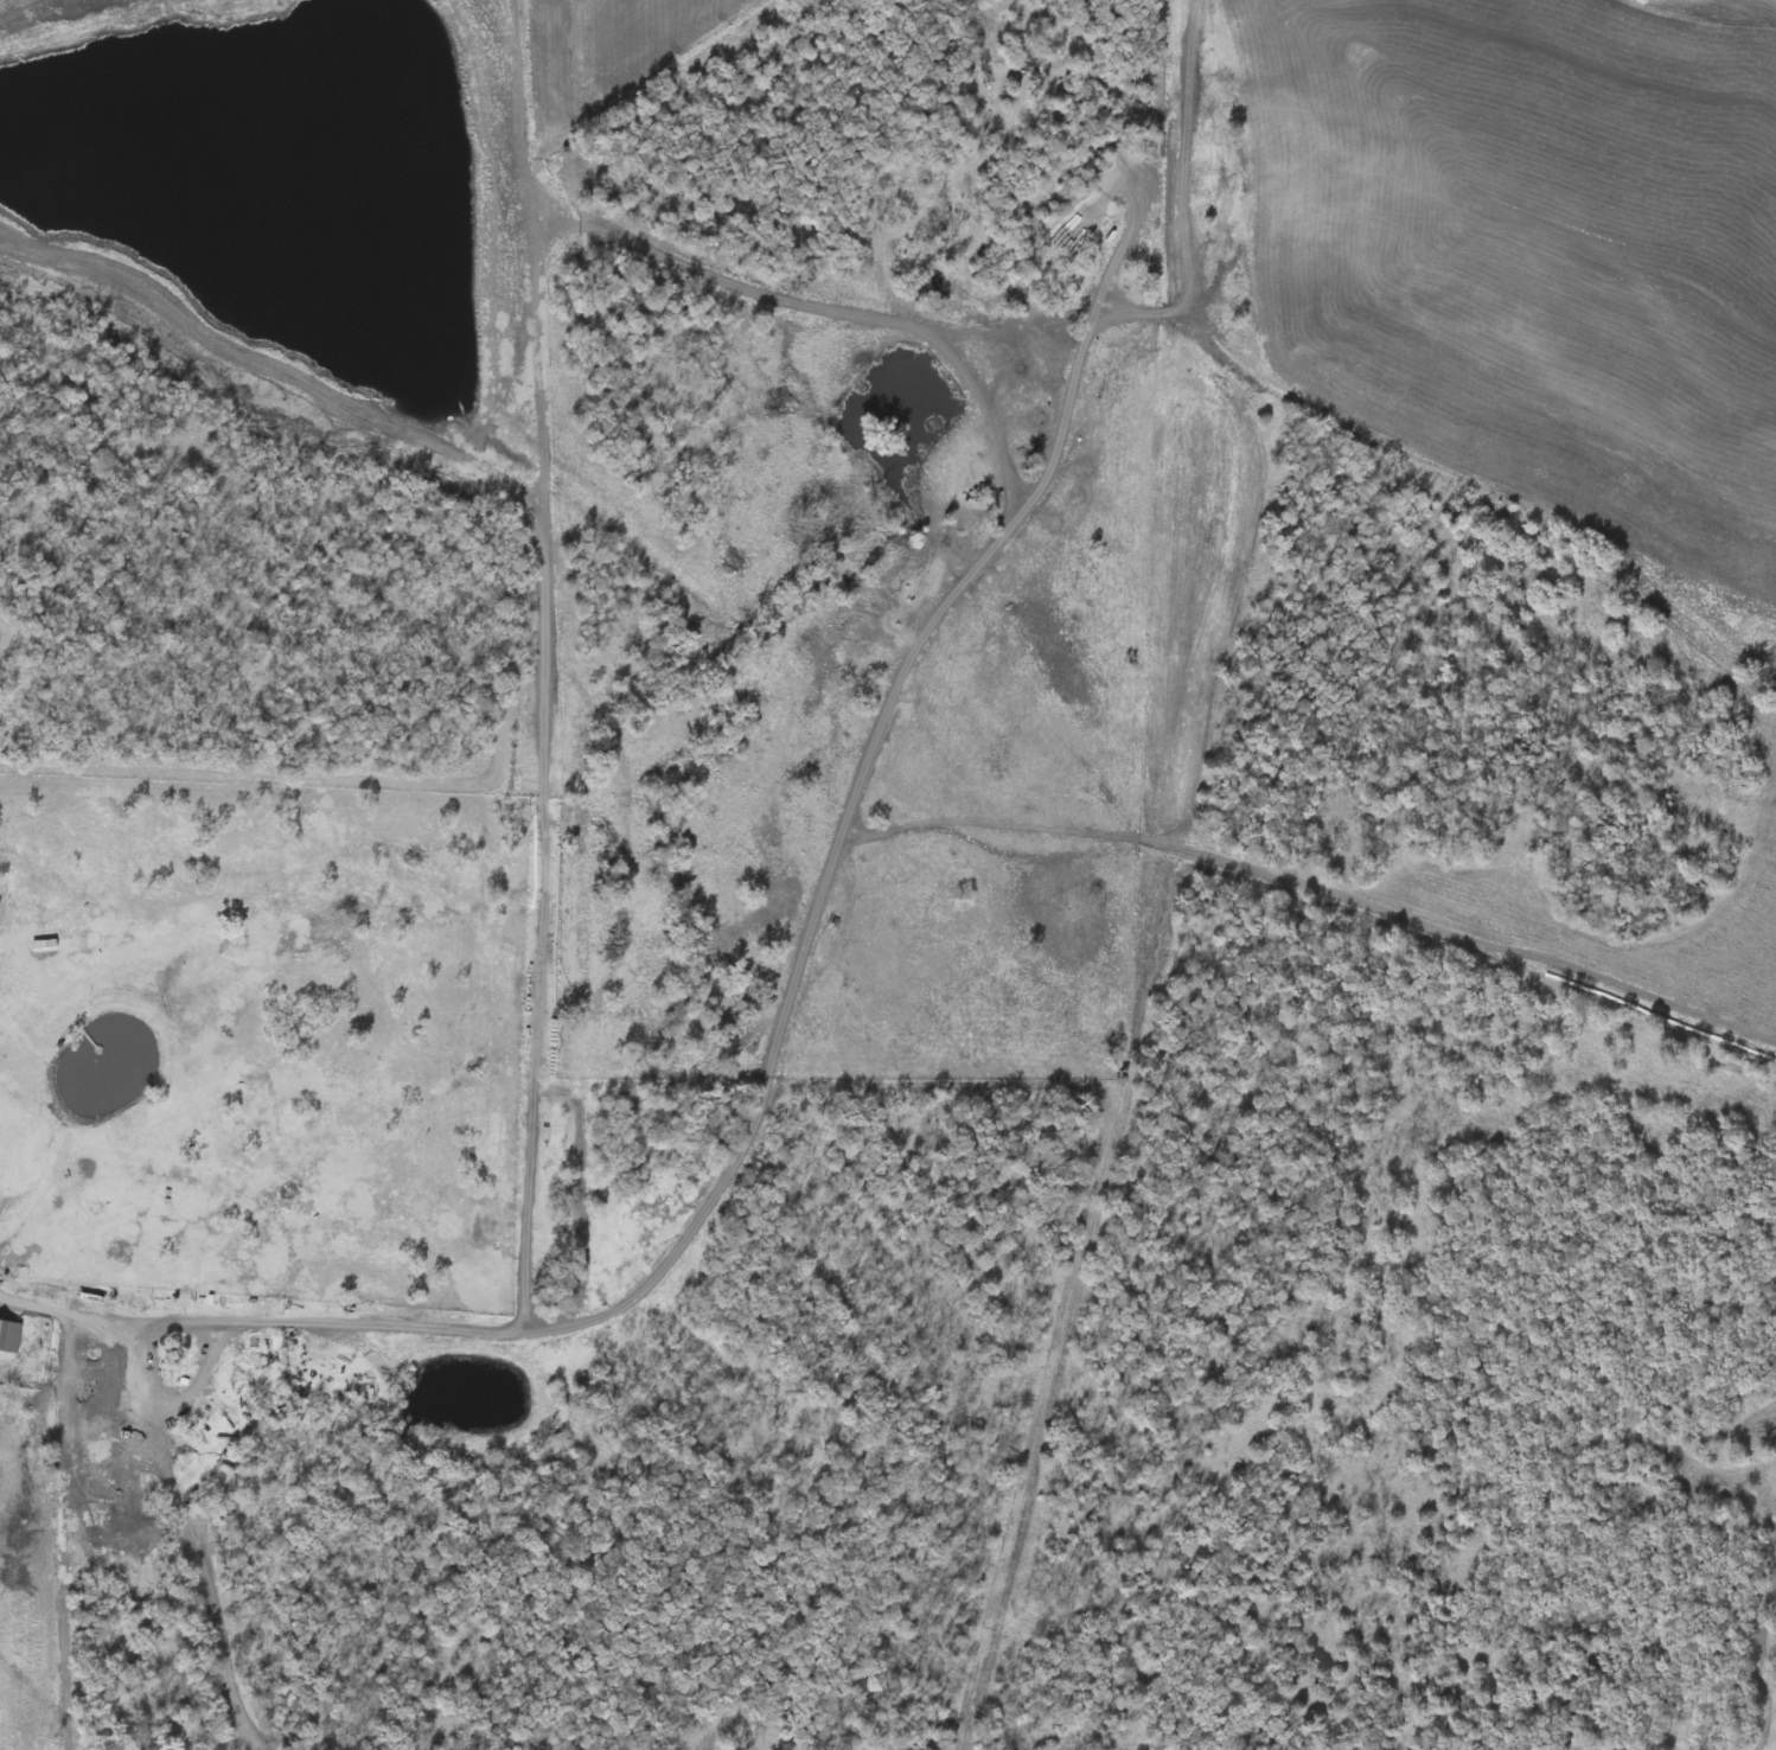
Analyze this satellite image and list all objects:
building: (8, 1335)

